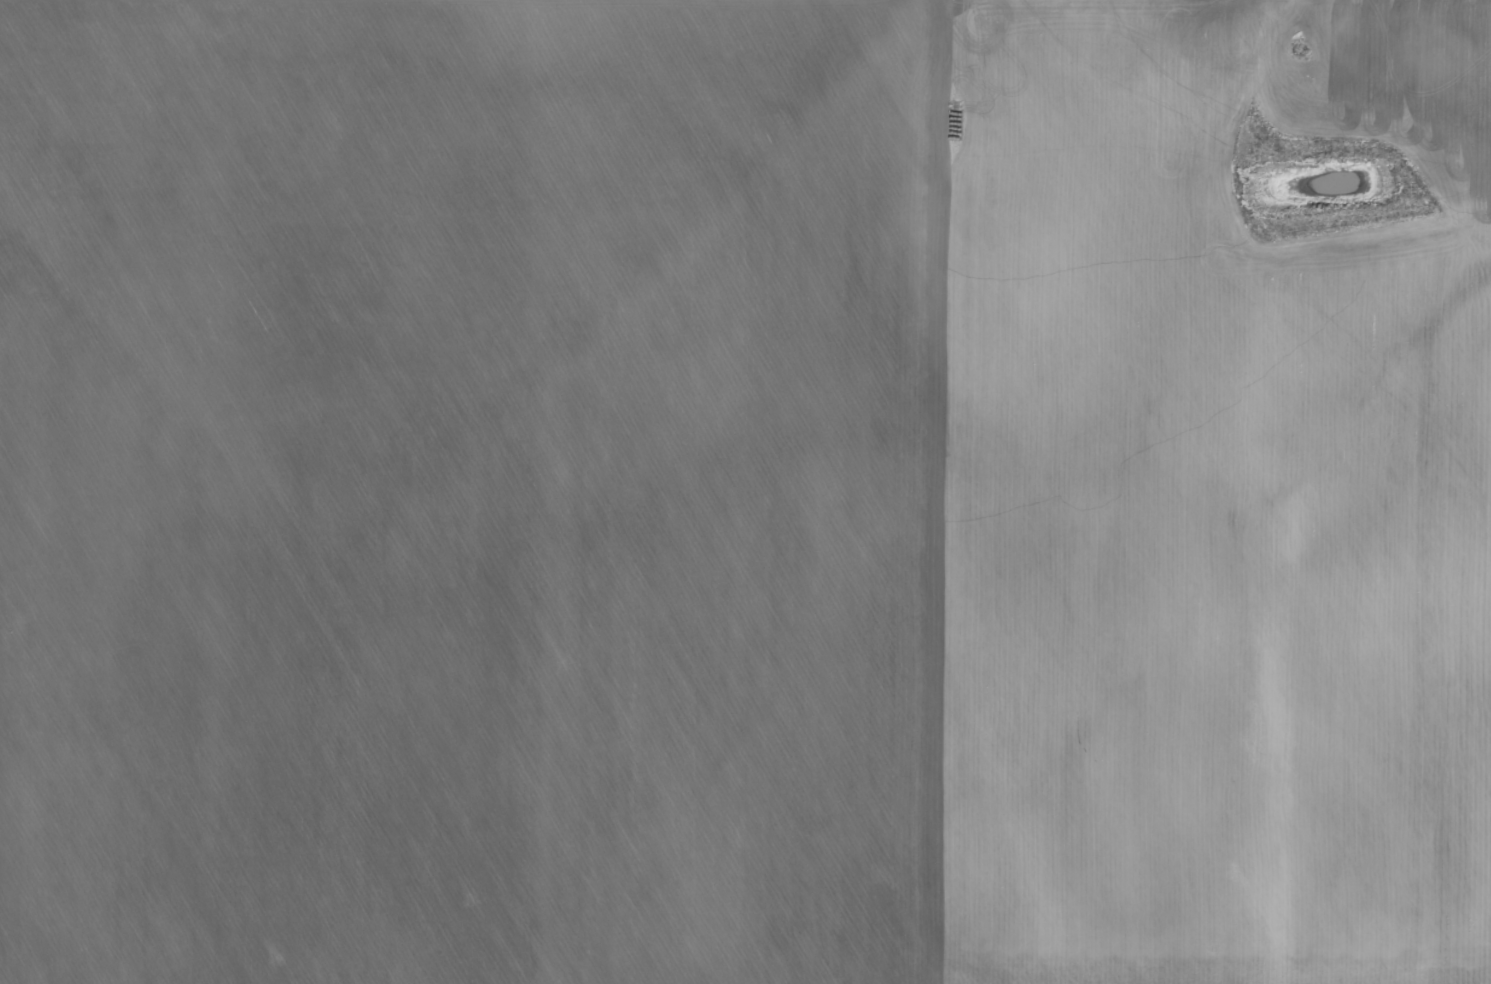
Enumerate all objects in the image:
building: (1318, 13)

